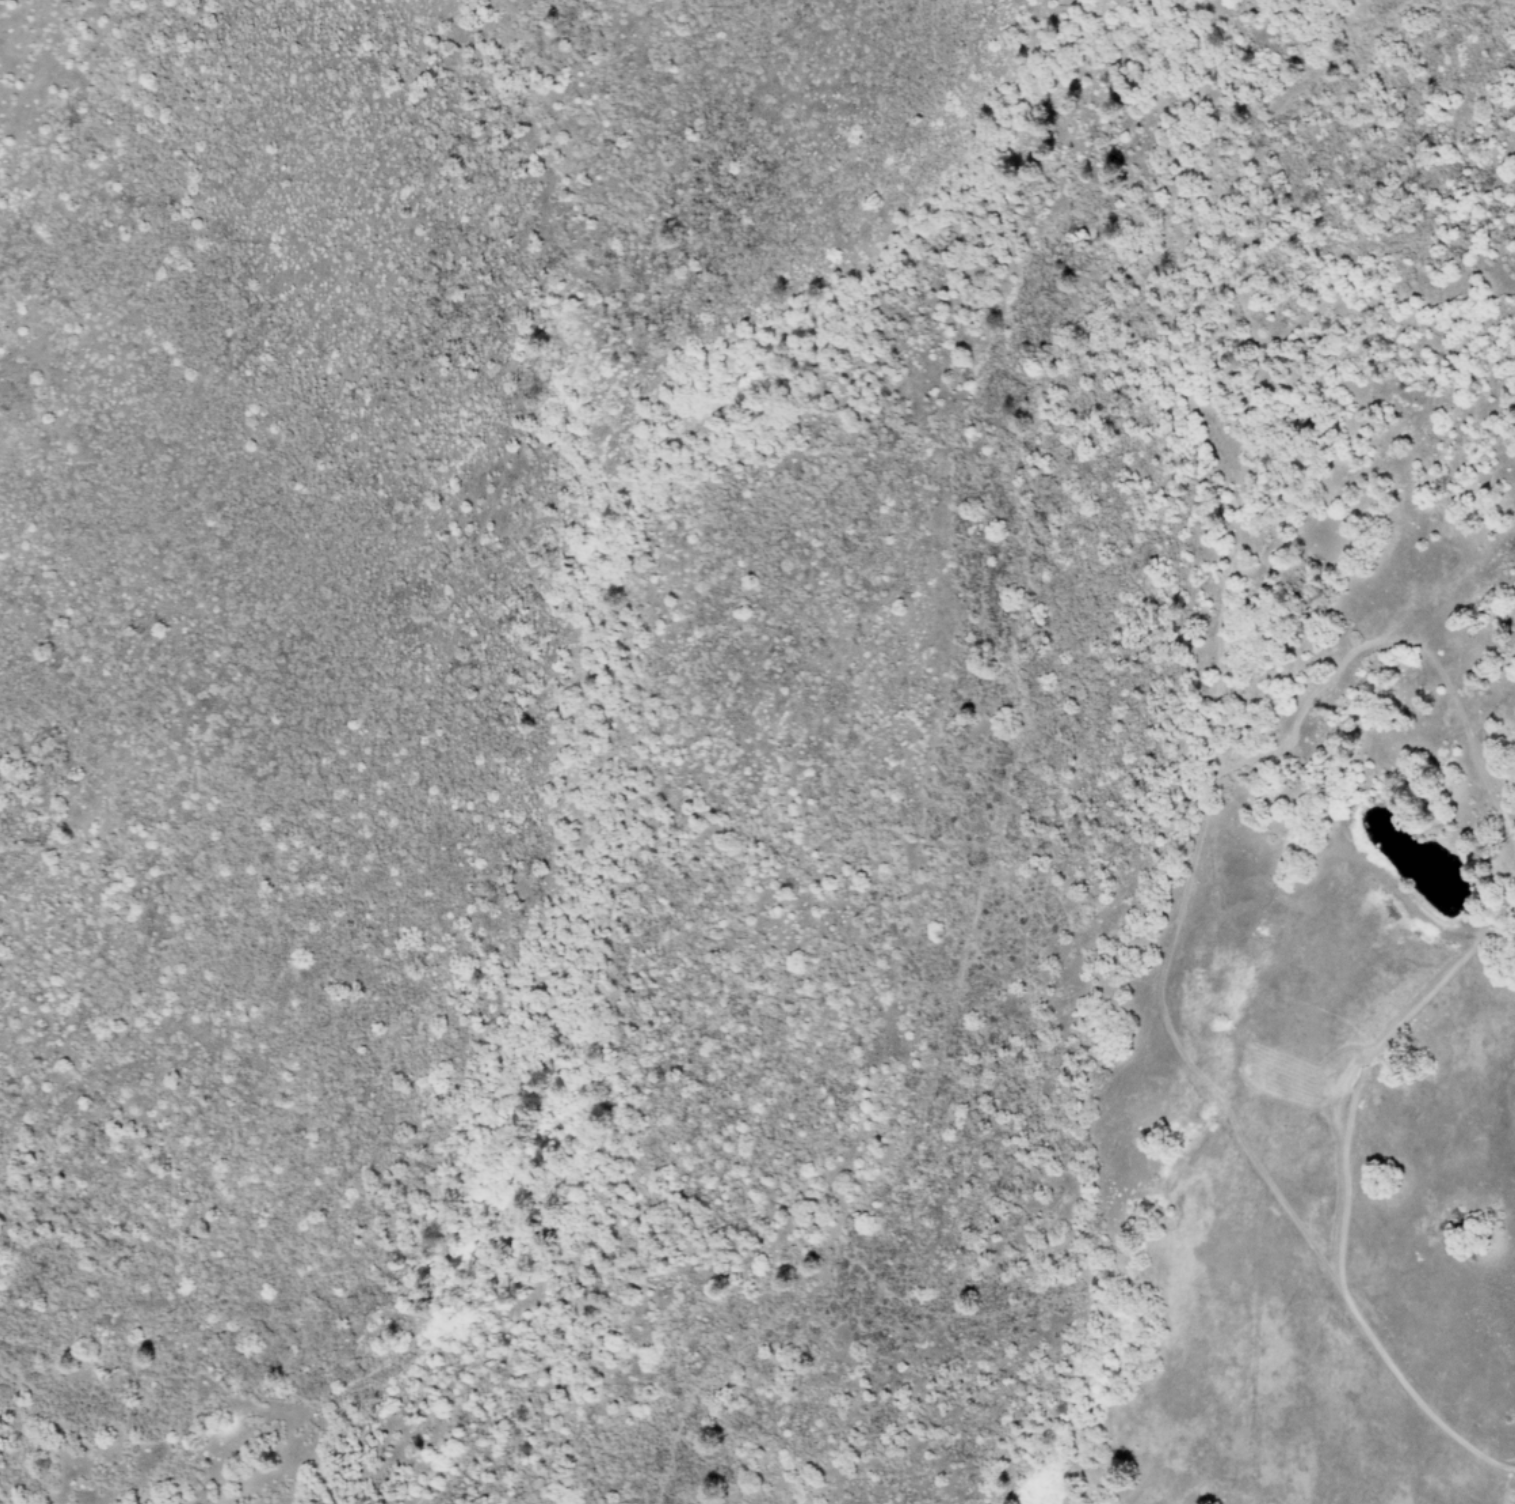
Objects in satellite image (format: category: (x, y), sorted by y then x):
road: (1264, 1461)

